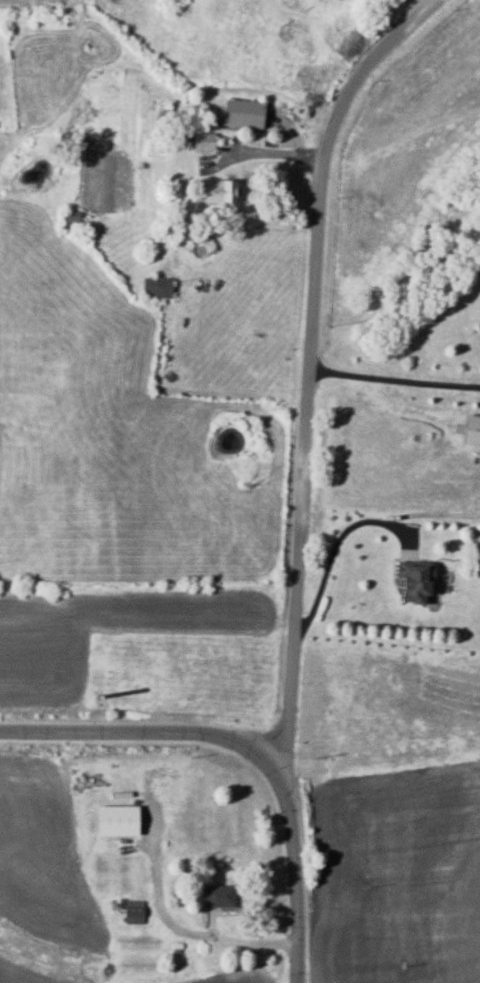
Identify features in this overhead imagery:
building: (242, 112)
building: (202, 140)
building: (219, 190)
building: (156, 286)
road: (312, 363)
road: (395, 381)
building: (471, 428)
road: (333, 544)
building: (414, 579)
road: (251, 745)
building: (116, 819)
building: (218, 894)
road: (190, 931)

